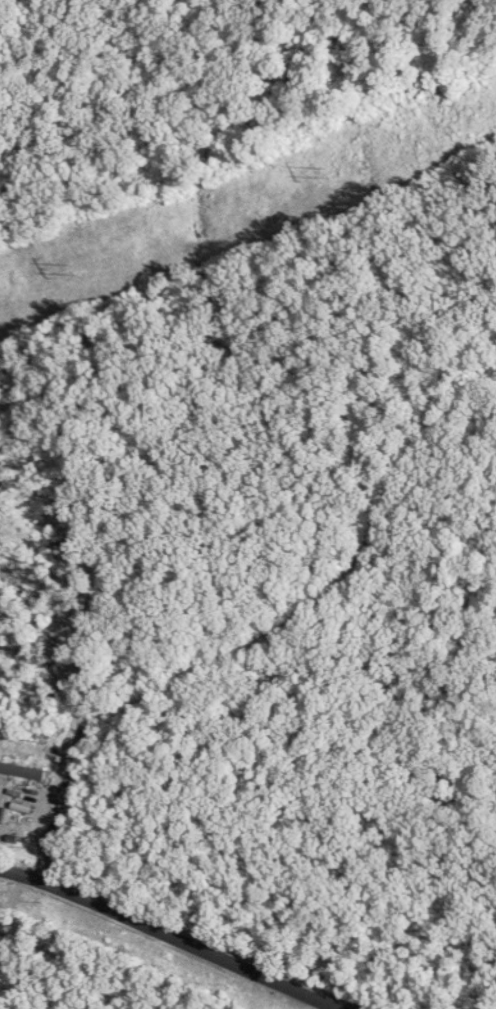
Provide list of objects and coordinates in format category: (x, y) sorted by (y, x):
building: (24, 774)
building: (24, 792)
building: (17, 824)
road: (171, 935)

